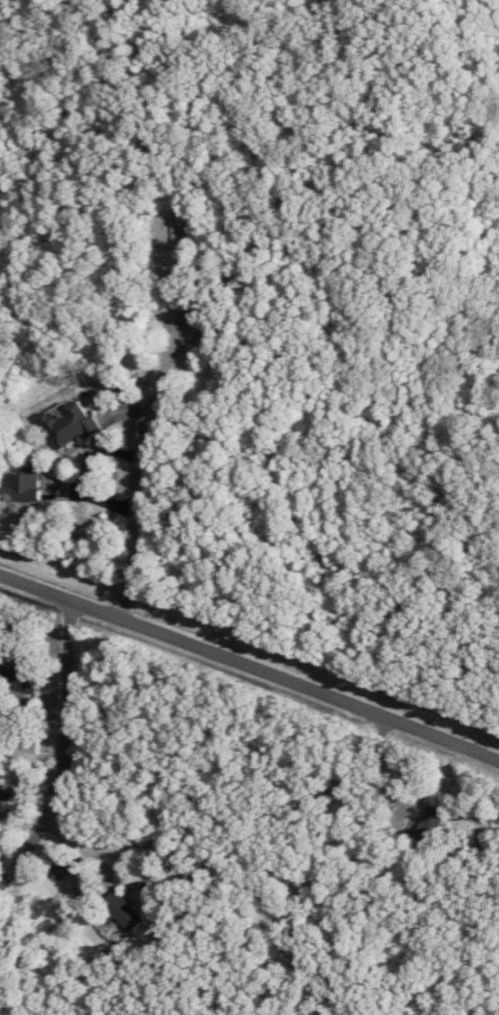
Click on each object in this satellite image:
building: (68, 419)
road: (137, 465)
road: (251, 665)
building: (16, 675)
road: (66, 757)
road: (173, 853)
road: (276, 853)
building: (58, 866)
building: (119, 908)

